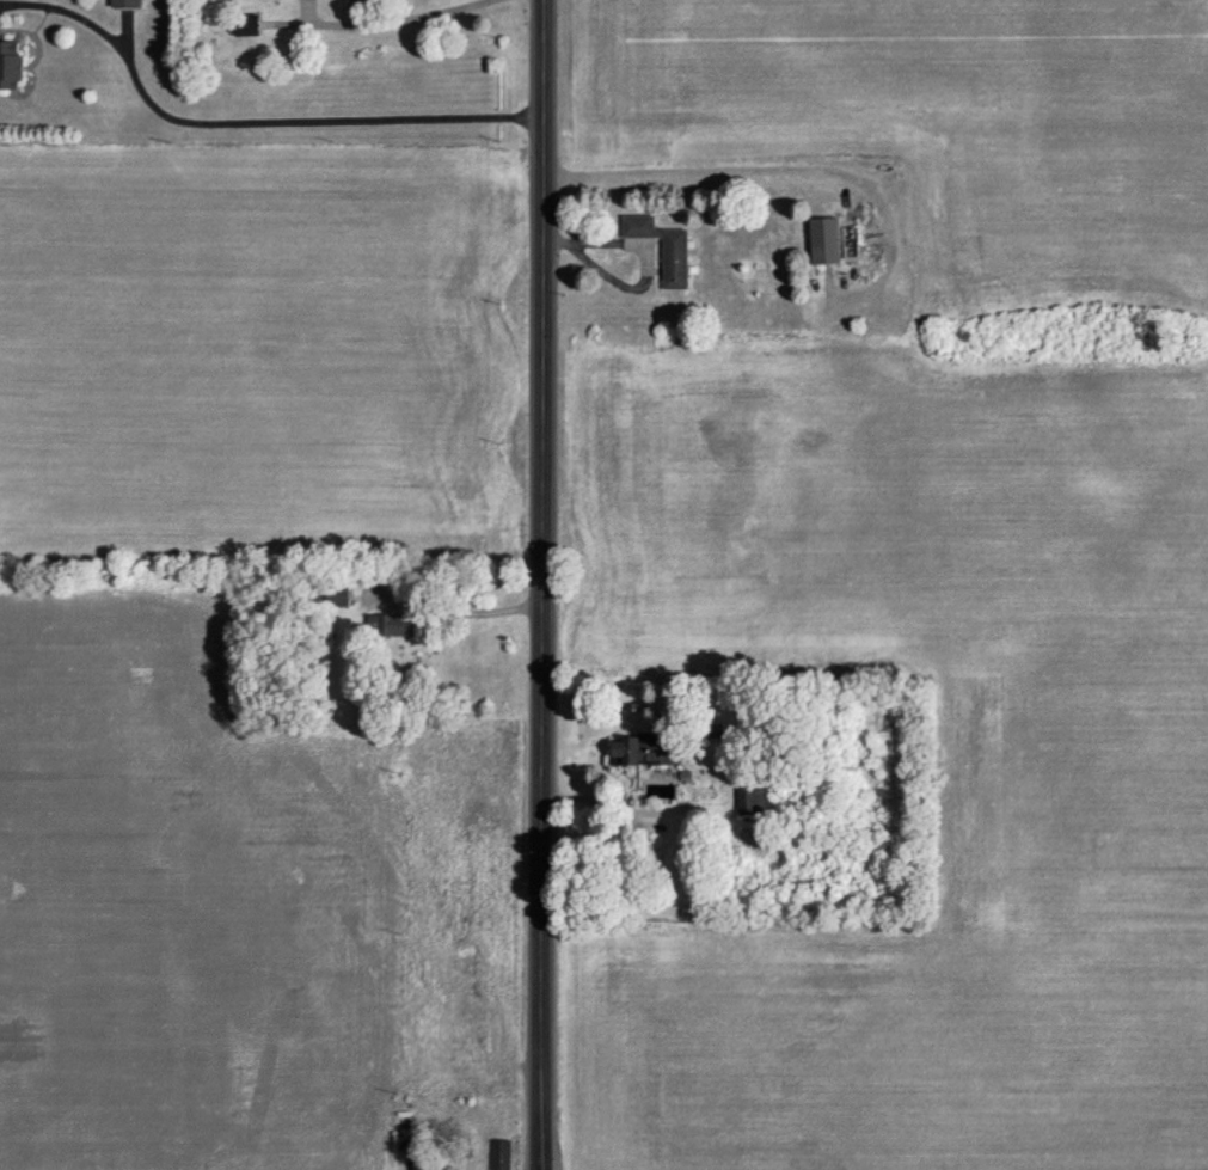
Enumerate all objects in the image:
building: (125, 4)
building: (245, 23)
road: (384, 23)
building: (10, 63)
road: (245, 125)
crop: (930, 141)
road: (771, 165)
building: (824, 239)
road: (636, 257)
building: (673, 263)
road: (538, 584)
building: (336, 595)
road: (452, 608)
building: (388, 625)
building: (645, 749)
building: (756, 803)
crop: (1072, 814)
building: (499, 1153)

